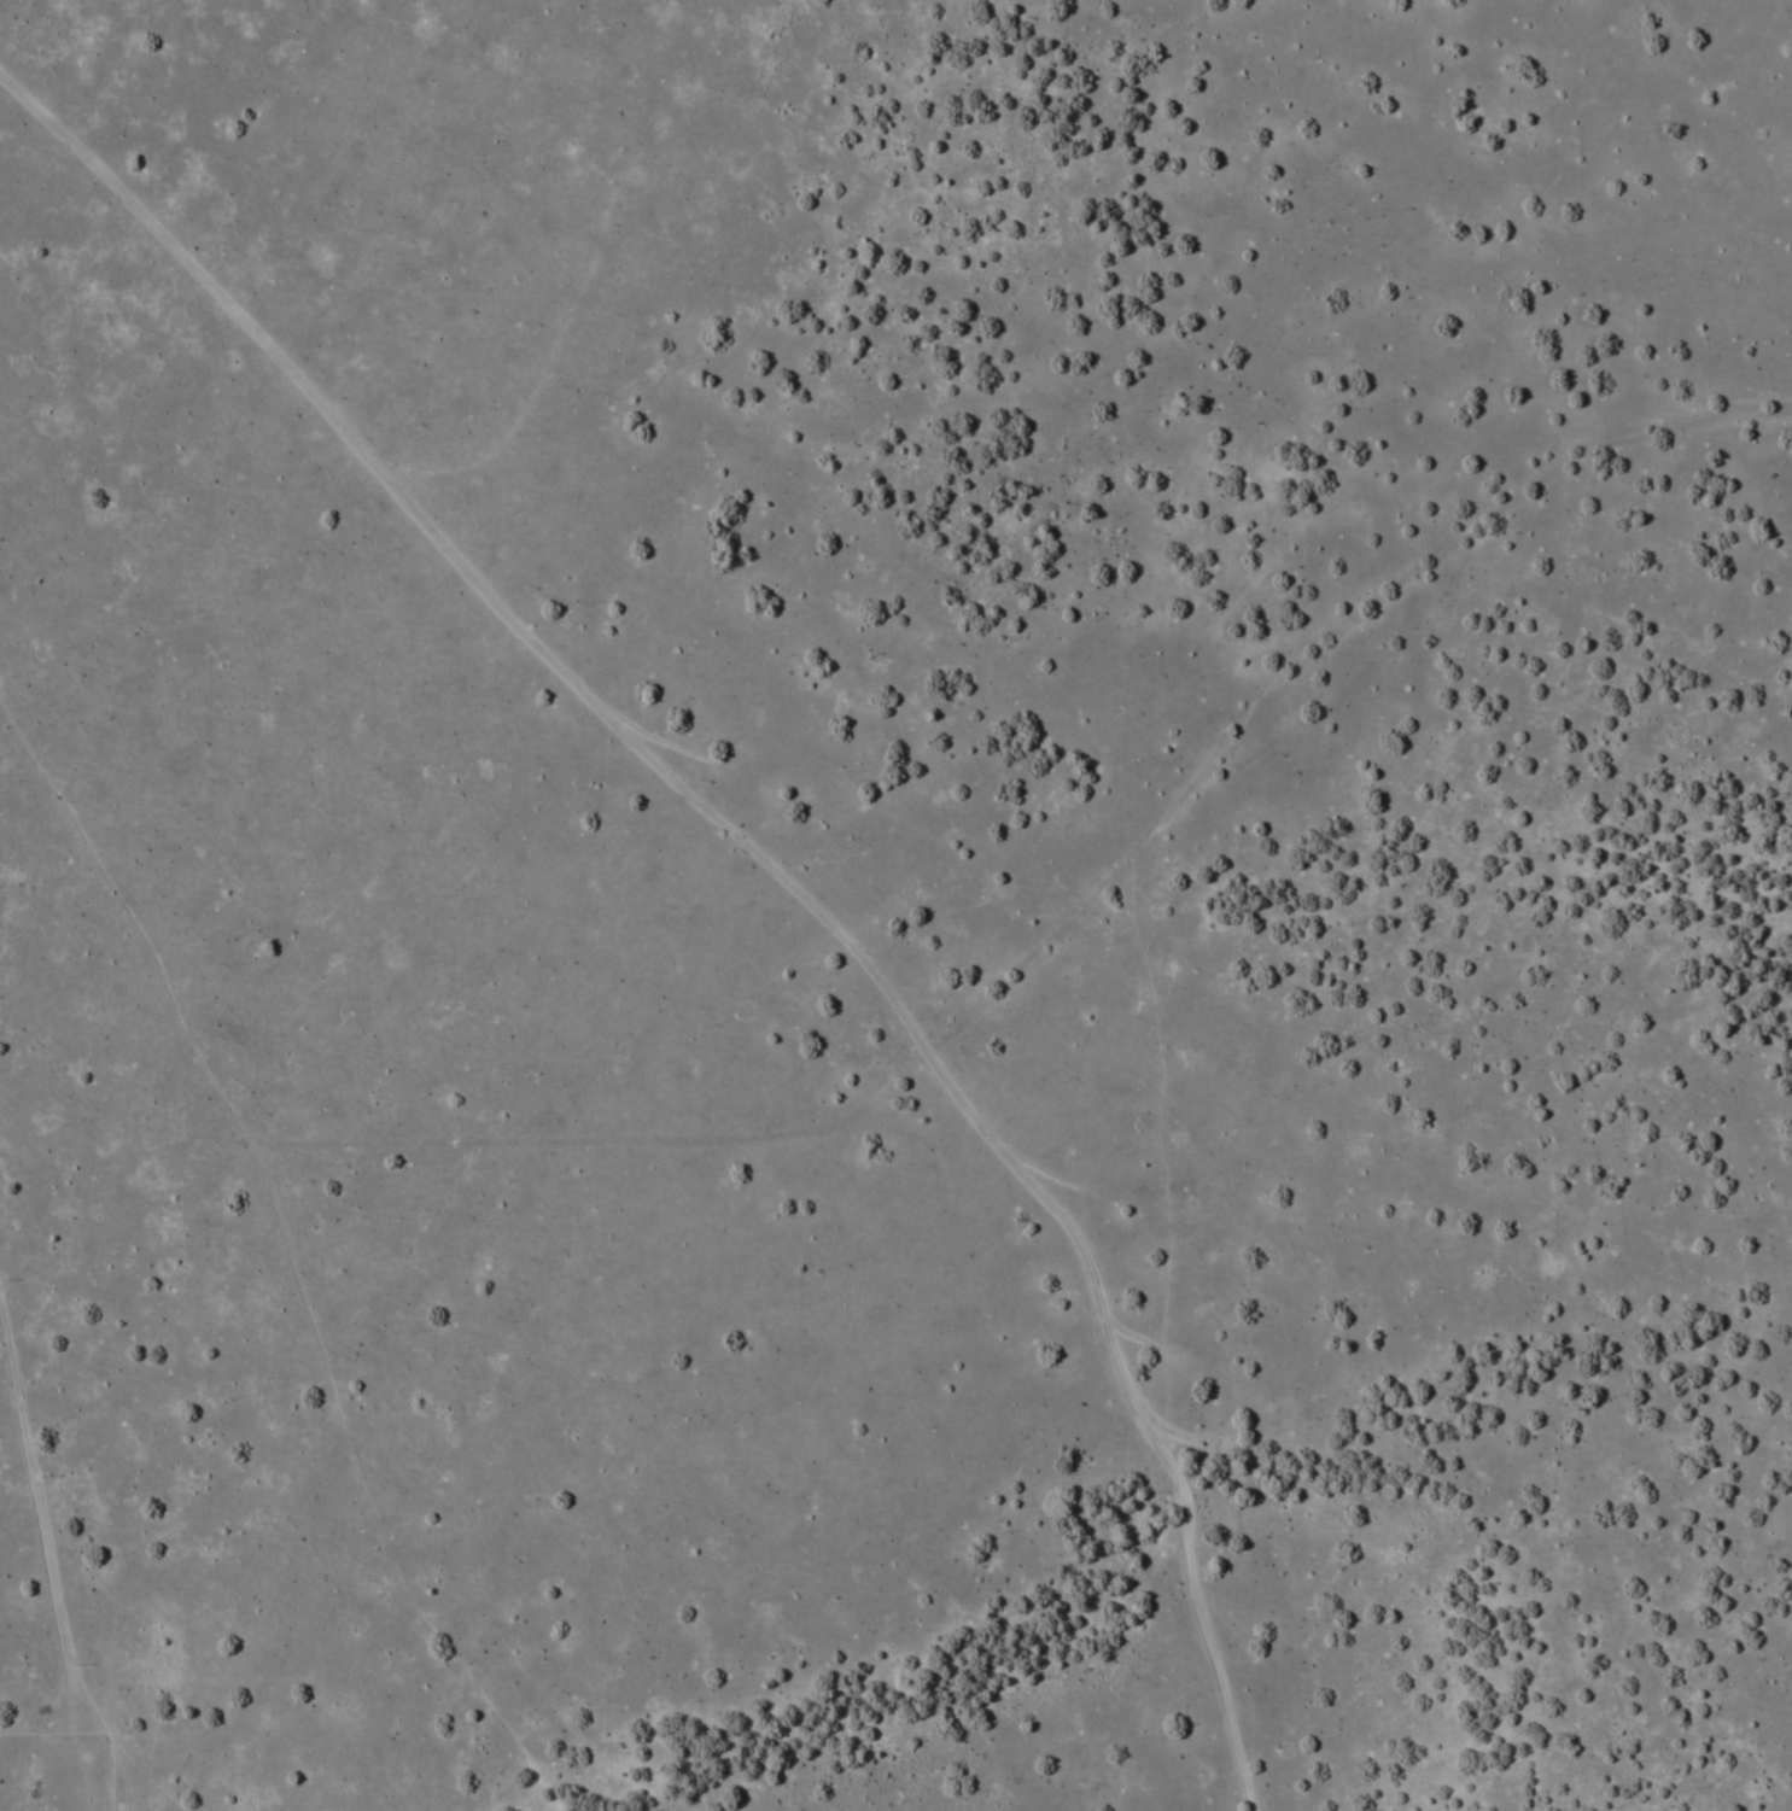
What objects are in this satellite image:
road: (743, 899)

